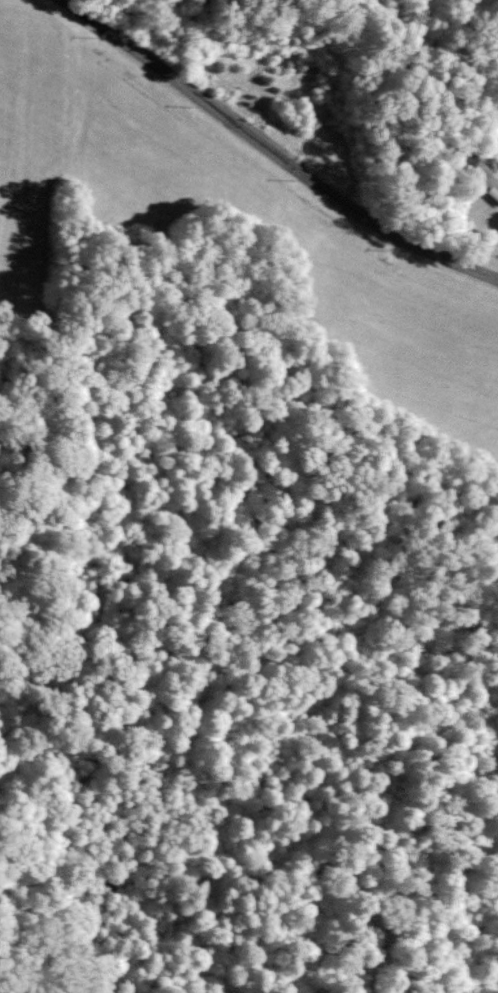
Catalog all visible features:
road: (279, 149)

